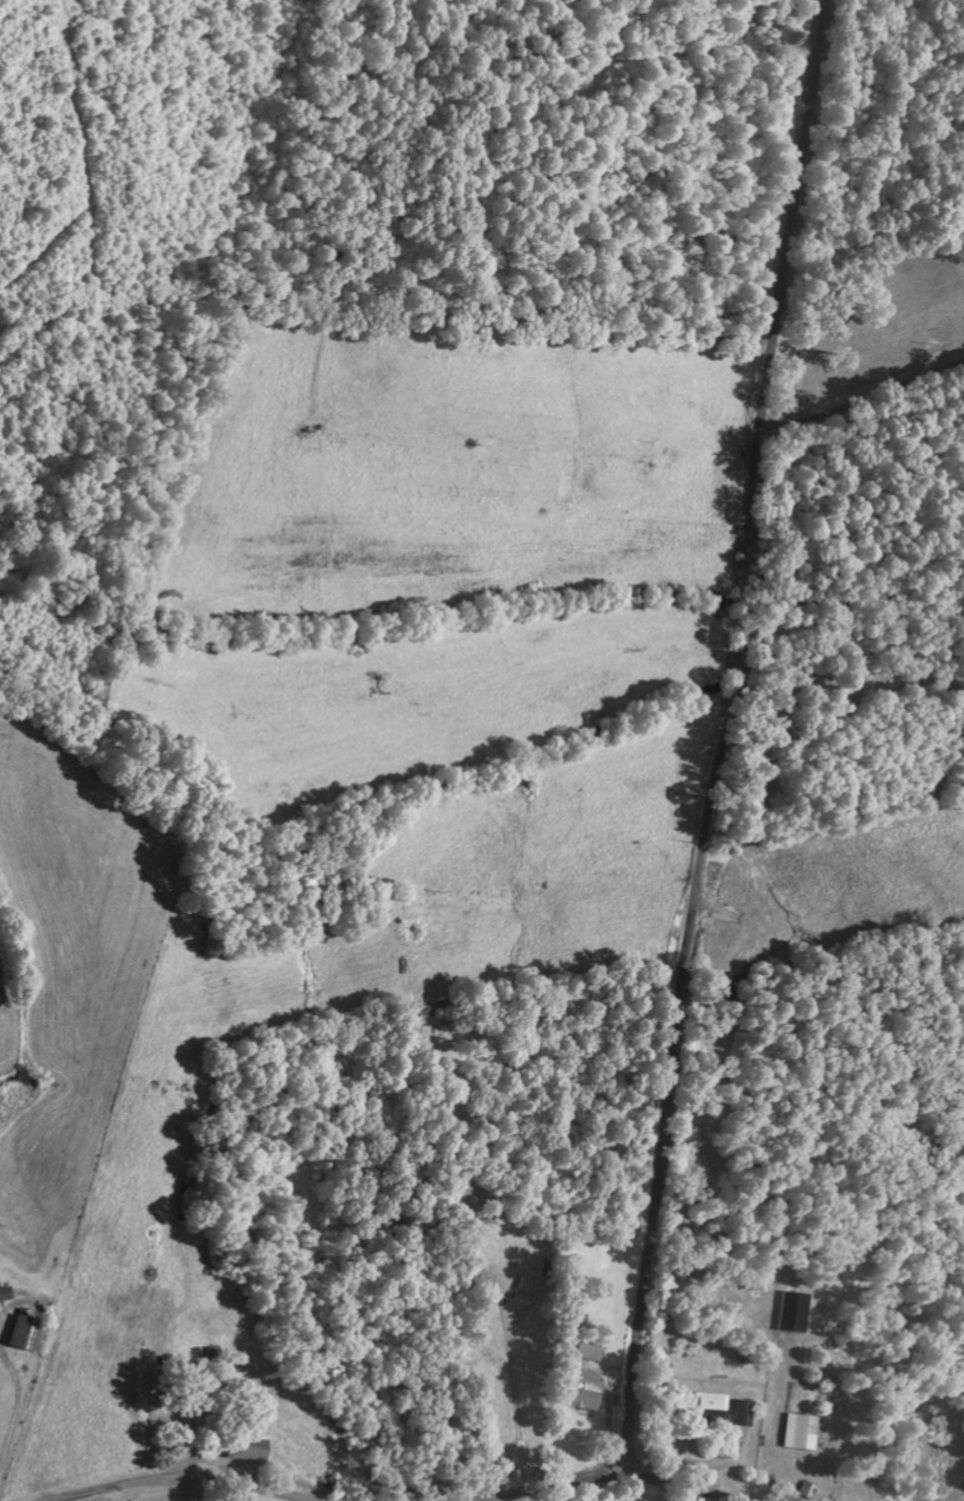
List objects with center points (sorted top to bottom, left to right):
road: (719, 737)
building: (4, 1292)
building: (26, 1332)
building: (588, 1350)
building: (583, 1398)
building: (710, 1405)
building: (743, 1412)
building: (799, 1431)
building: (247, 1449)
road: (610, 1477)
road: (186, 1481)

